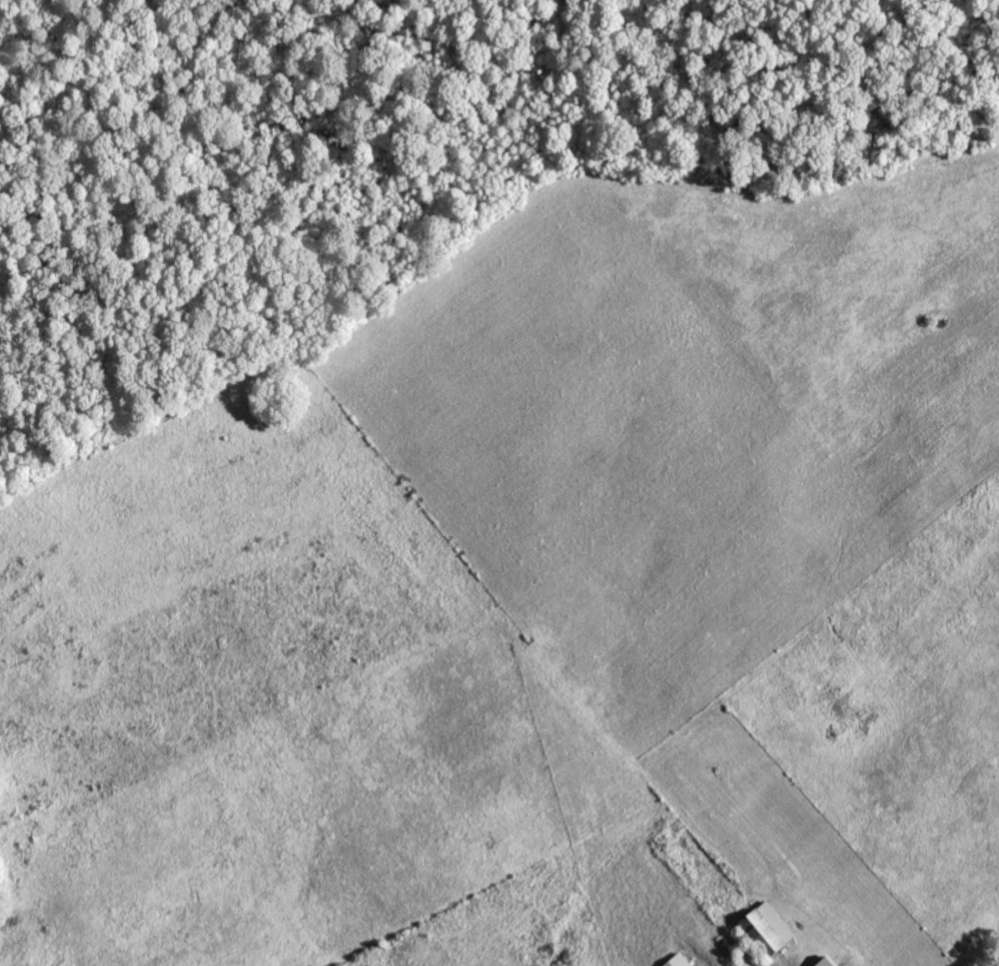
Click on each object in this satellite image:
building: (764, 928)
building: (676, 960)
building: (823, 961)

